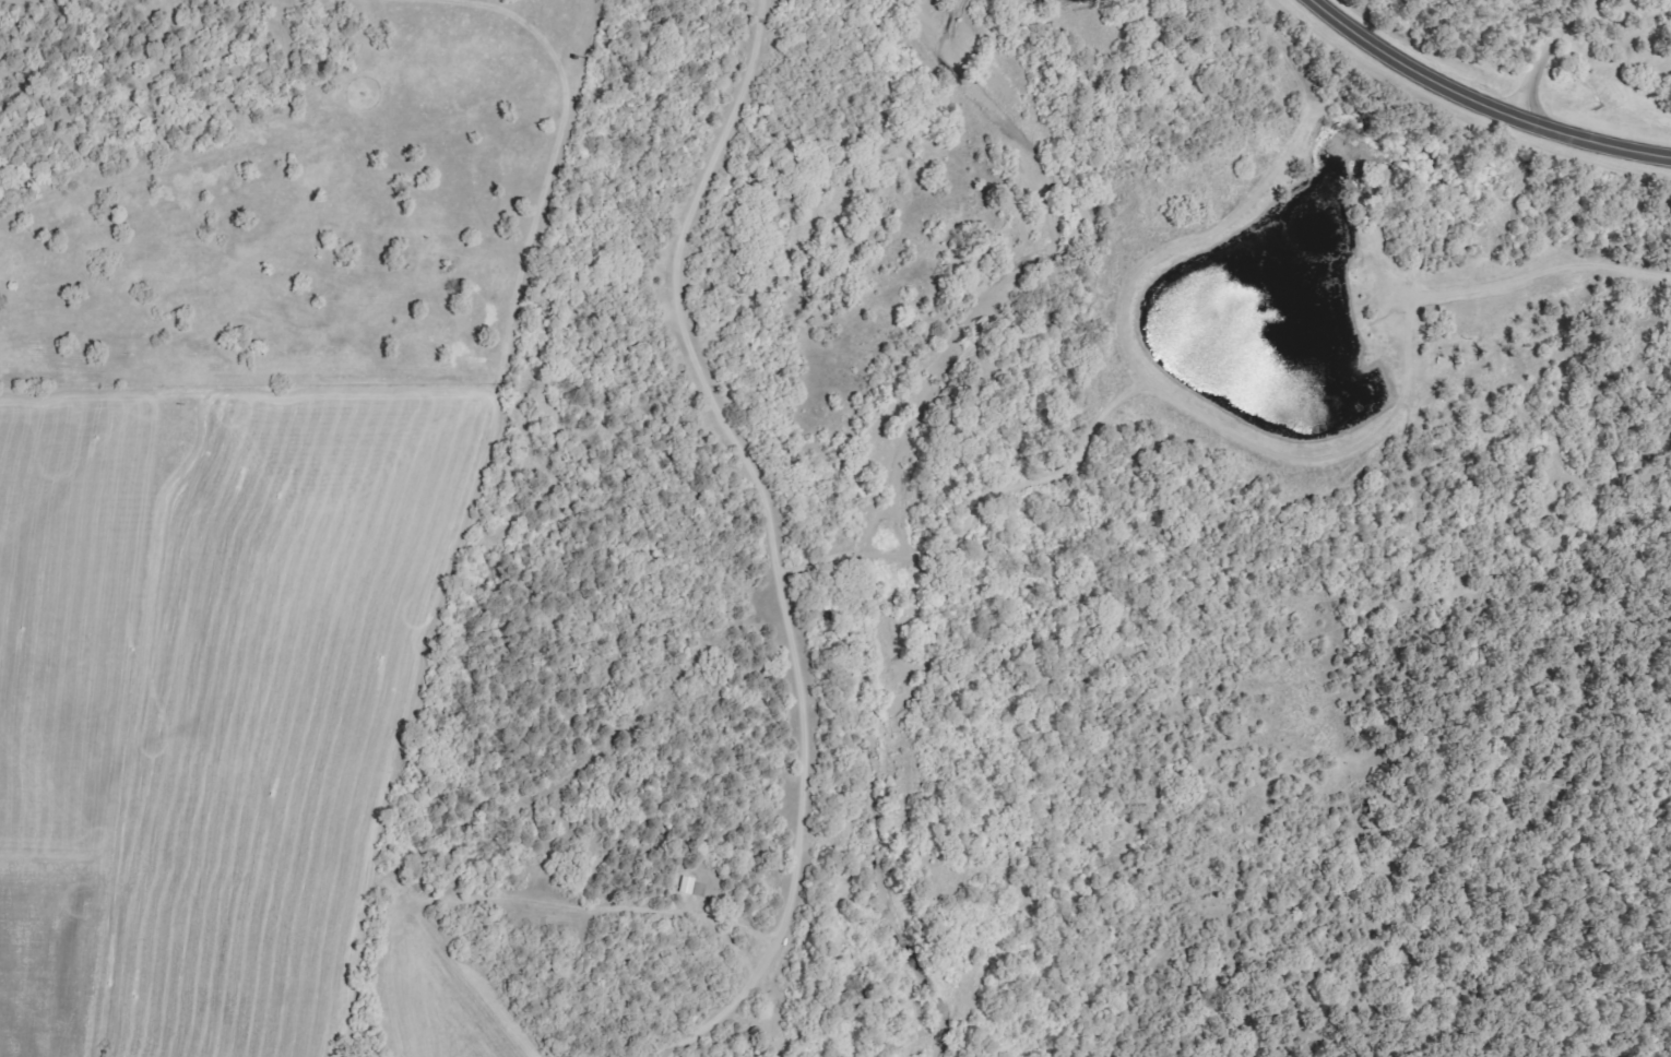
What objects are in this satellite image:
road: (1541, 50)
road: (1483, 97)

